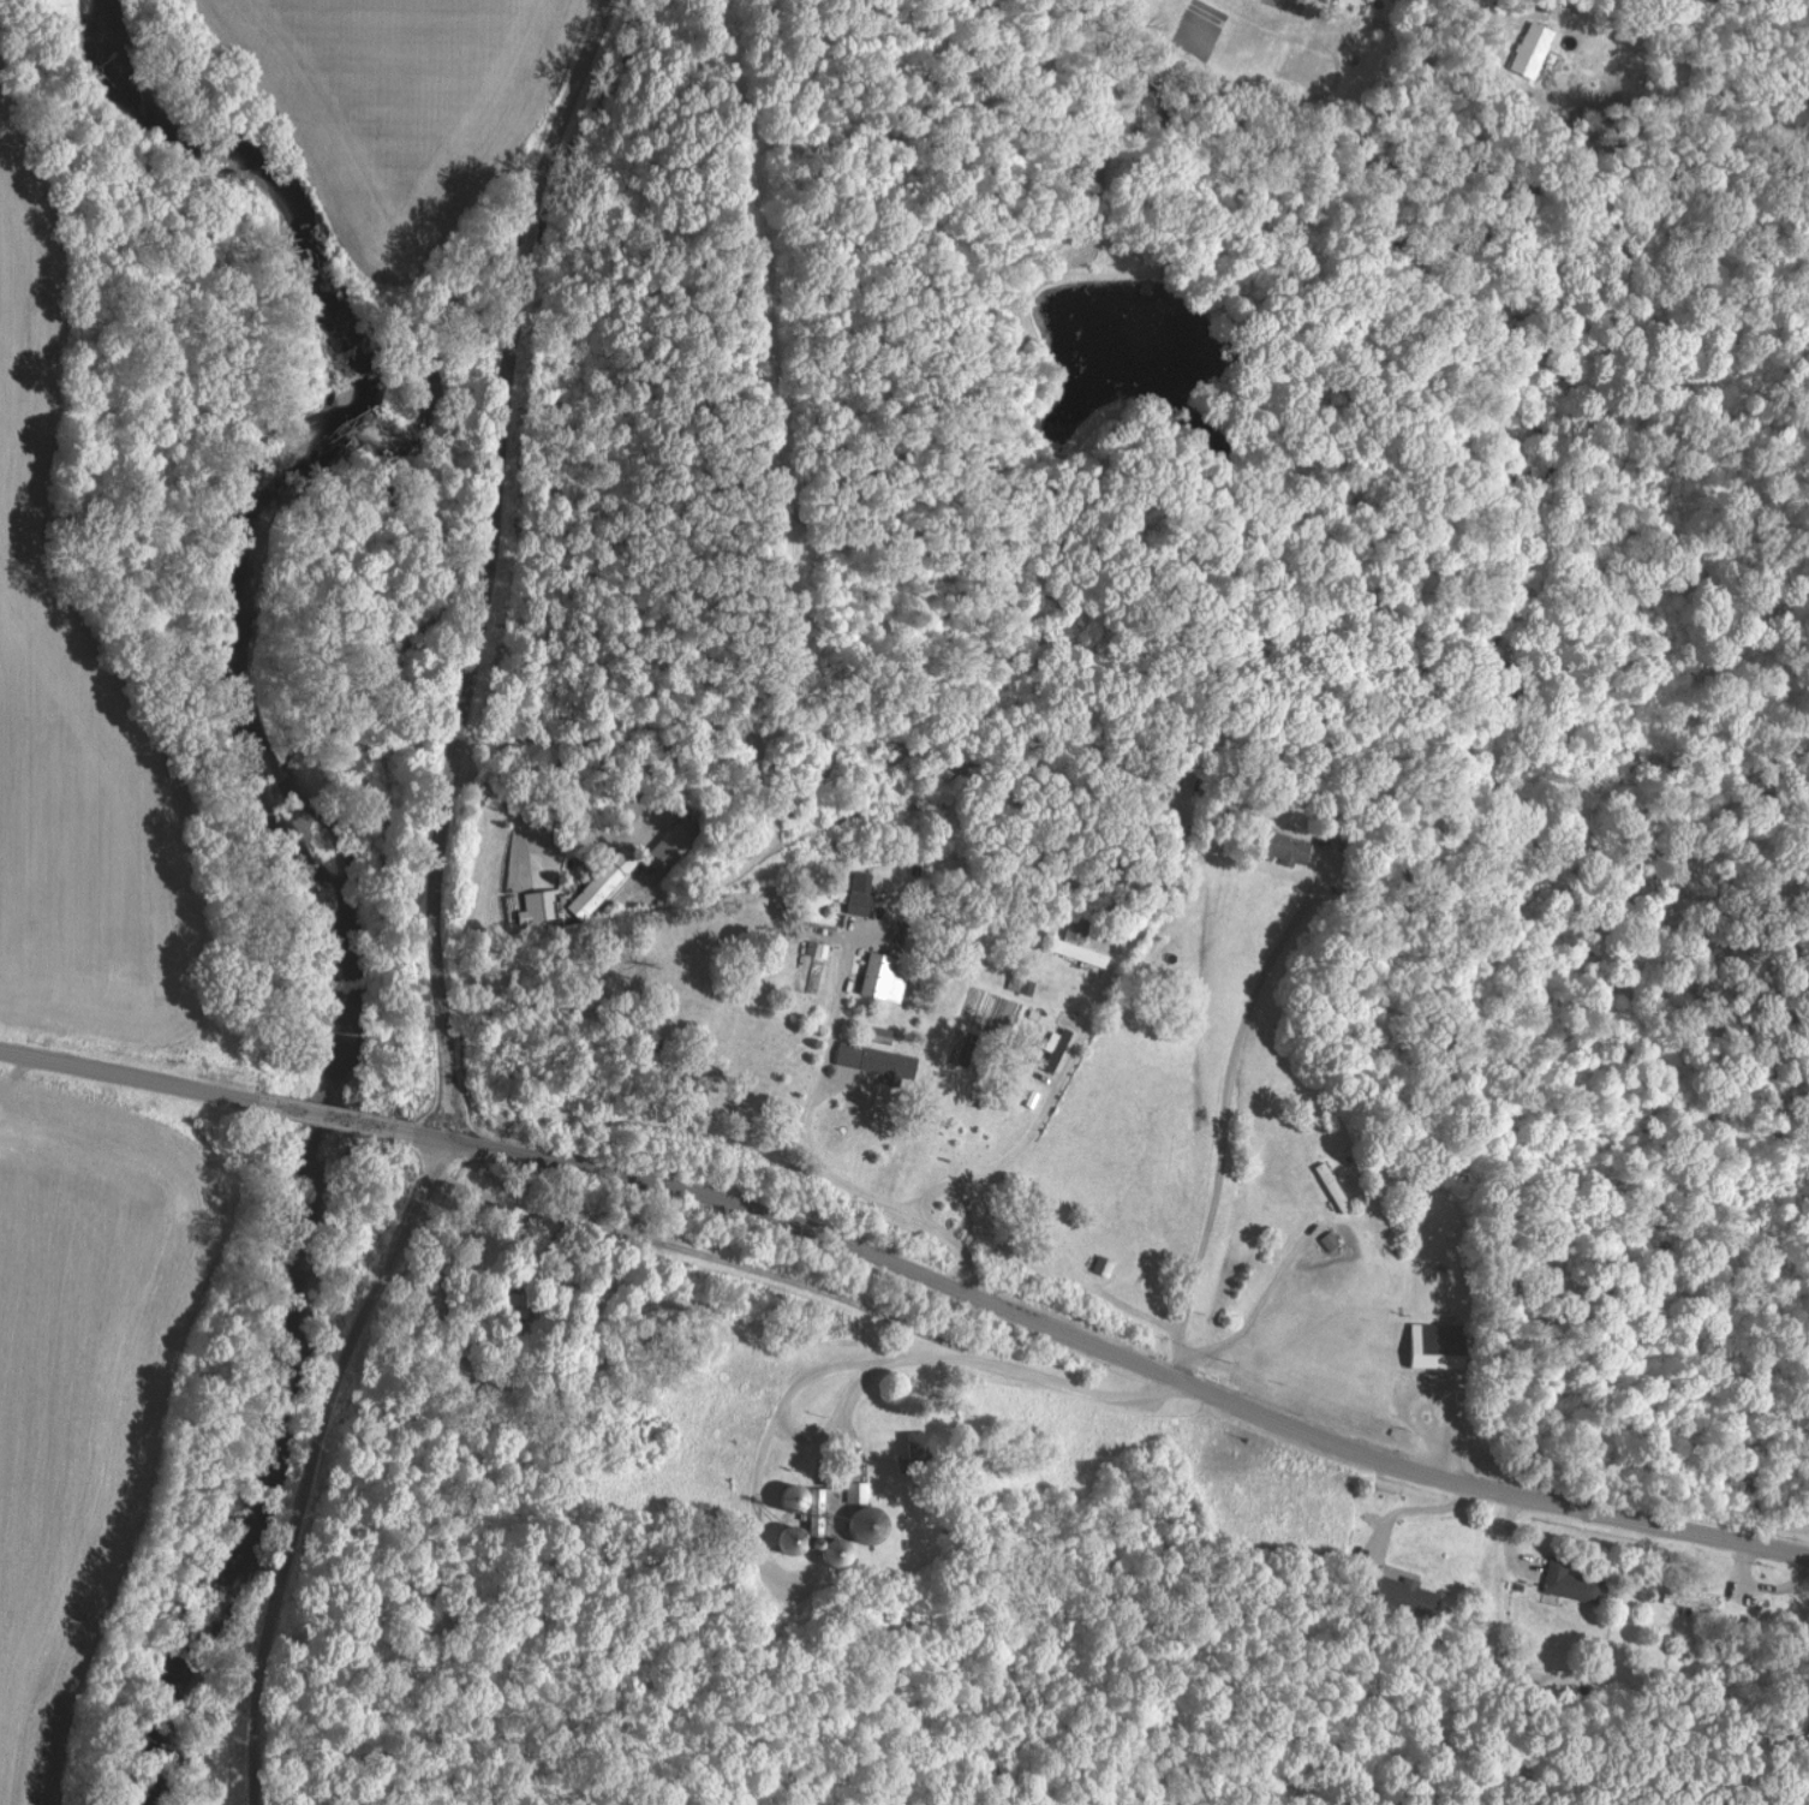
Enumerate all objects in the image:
road: (1501, 20)
building: (1523, 52)
road: (476, 562)
building: (597, 889)
building: (535, 907)
building: (820, 948)
building: (889, 977)
building: (1021, 982)
building: (882, 1061)
road: (129, 1076)
road: (324, 1114)
road: (1034, 1118)
road: (1223, 1121)
road: (407, 1132)
road: (814, 1152)
building: (1332, 1240)
road: (682, 1251)
road: (1254, 1307)
river: (317, 1310)
road: (1112, 1354)
road: (870, 1359)
building: (929, 1446)
road: (291, 1461)
road: (730, 1508)
building: (824, 1519)
building: (1572, 1584)
building: (1411, 1595)

